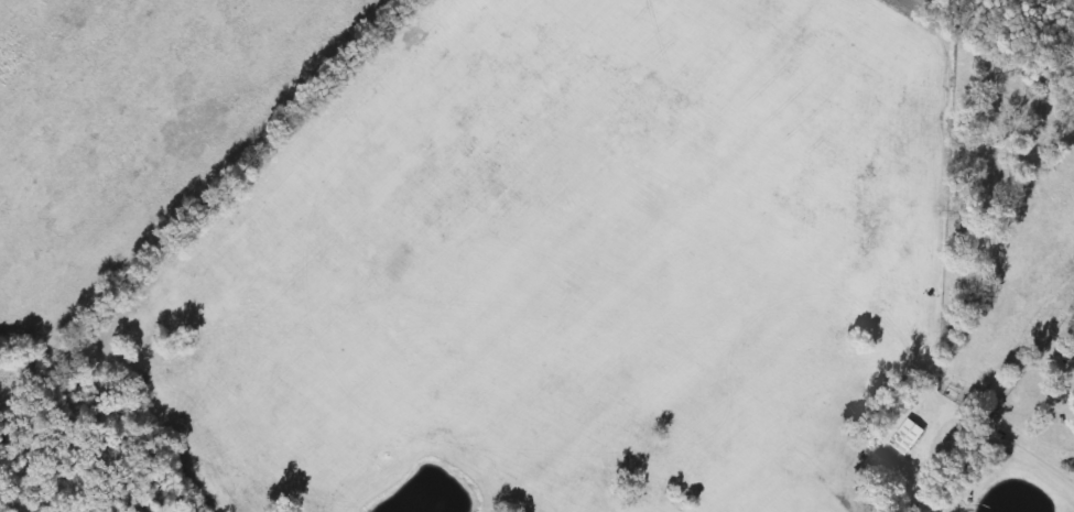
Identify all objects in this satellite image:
building: (905, 435)
road: (1023, 450)

